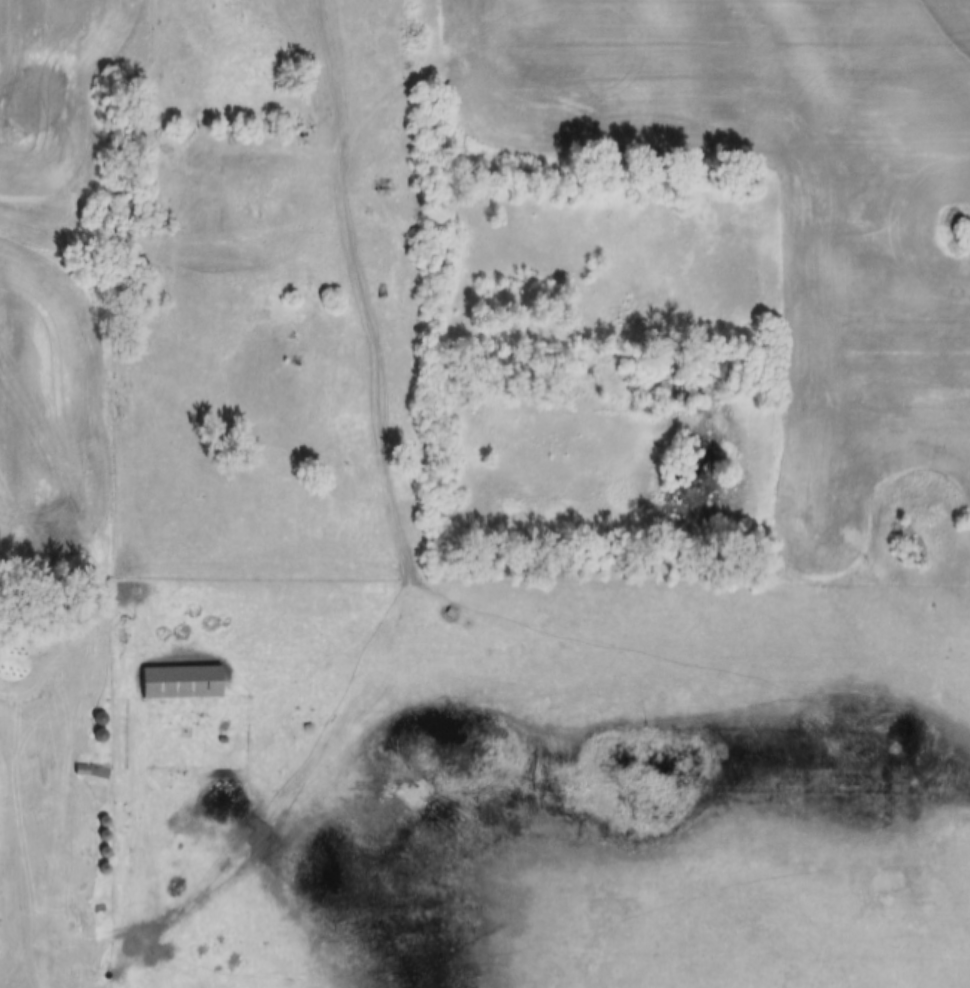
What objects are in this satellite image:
building: (178, 684)
building: (85, 771)
building: (0, 859)
road: (27, 935)

